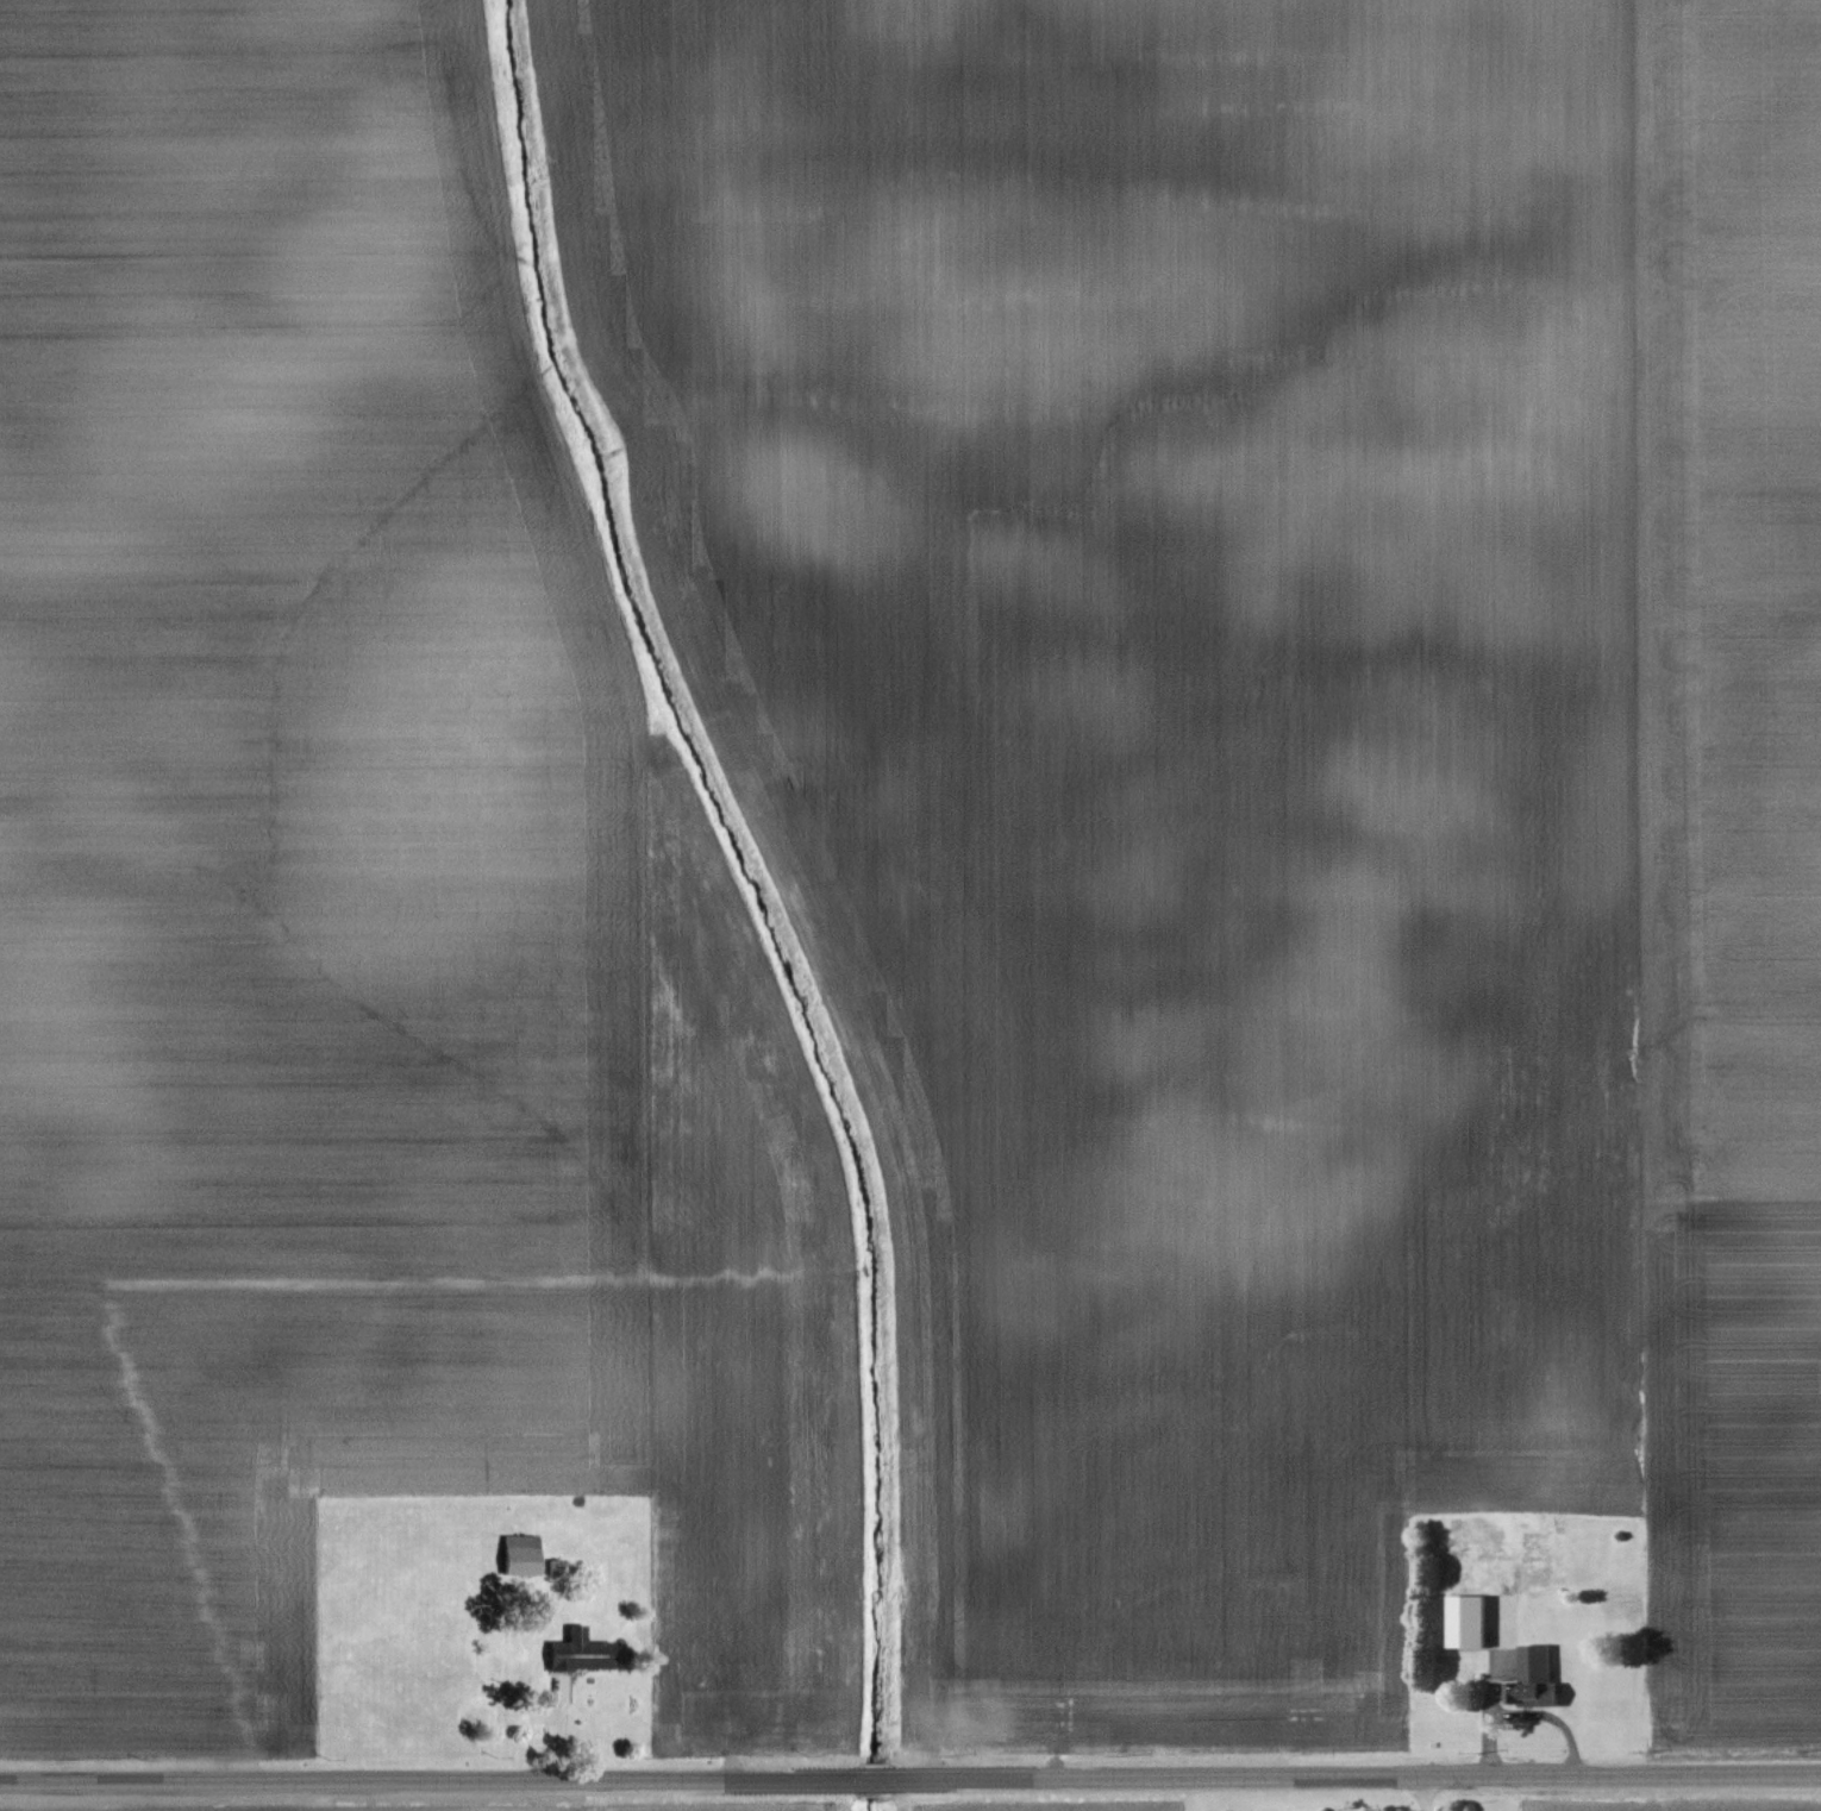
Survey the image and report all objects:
building: (519, 1555)
building: (1471, 1622)
building: (574, 1653)
building: (1537, 1679)
road: (910, 1772)
road: (1426, 1791)

